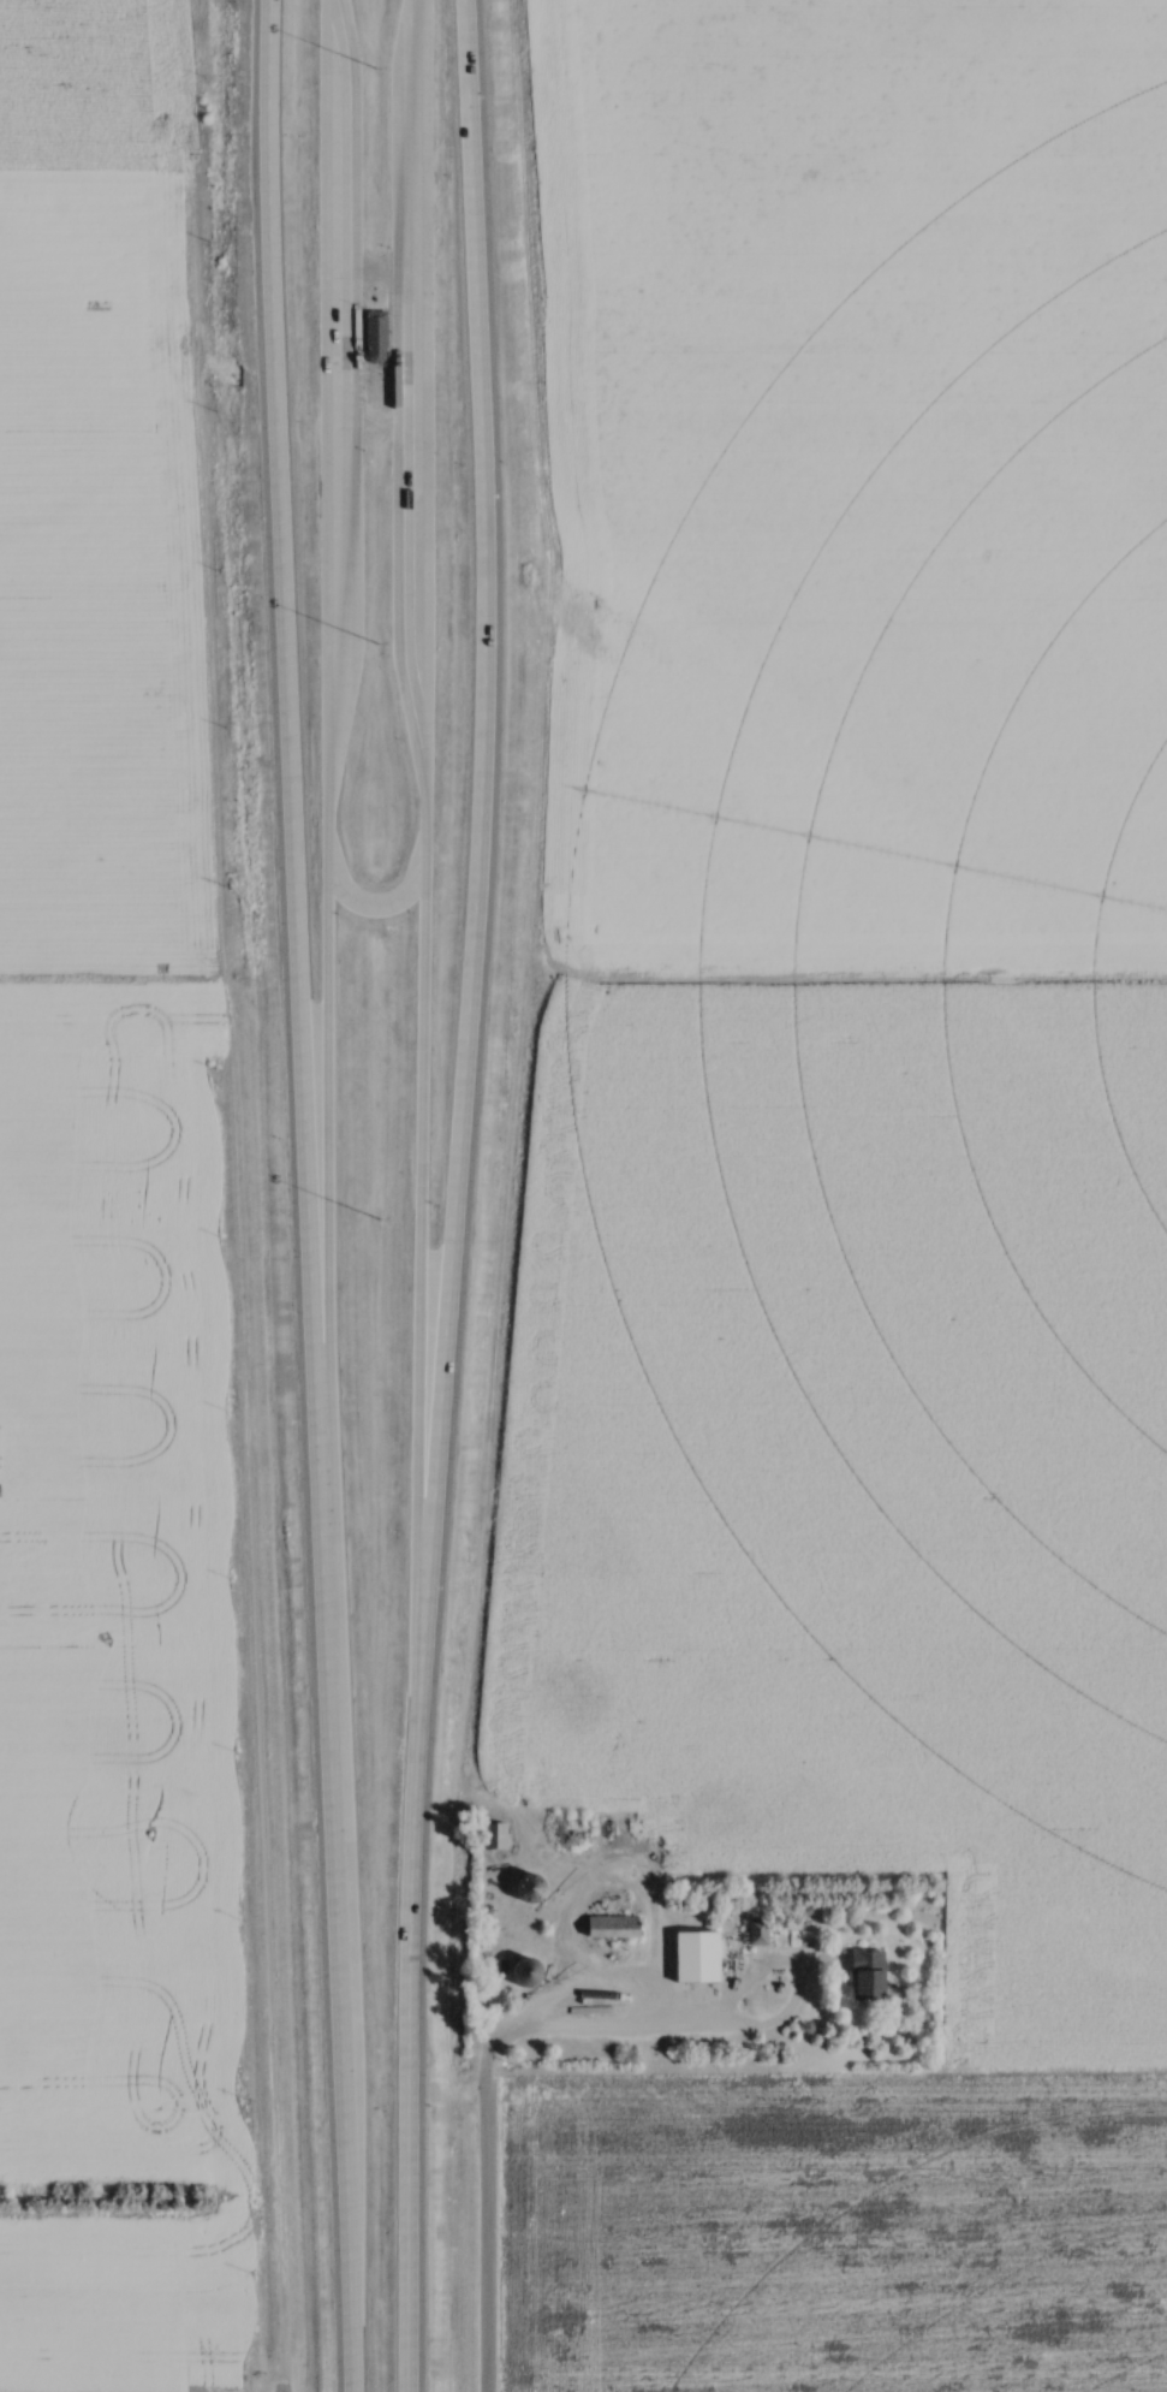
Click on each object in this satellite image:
building: (377, 334)
road: (379, 906)
road: (322, 1163)
road: (306, 1195)
road: (456, 1195)
road: (425, 1215)
building: (532, 1886)
building: (617, 1927)
building: (704, 1955)
building: (534, 1971)
road: (754, 1972)
building: (874, 1975)
road: (594, 1977)
road: (605, 2032)
road: (482, 2219)

